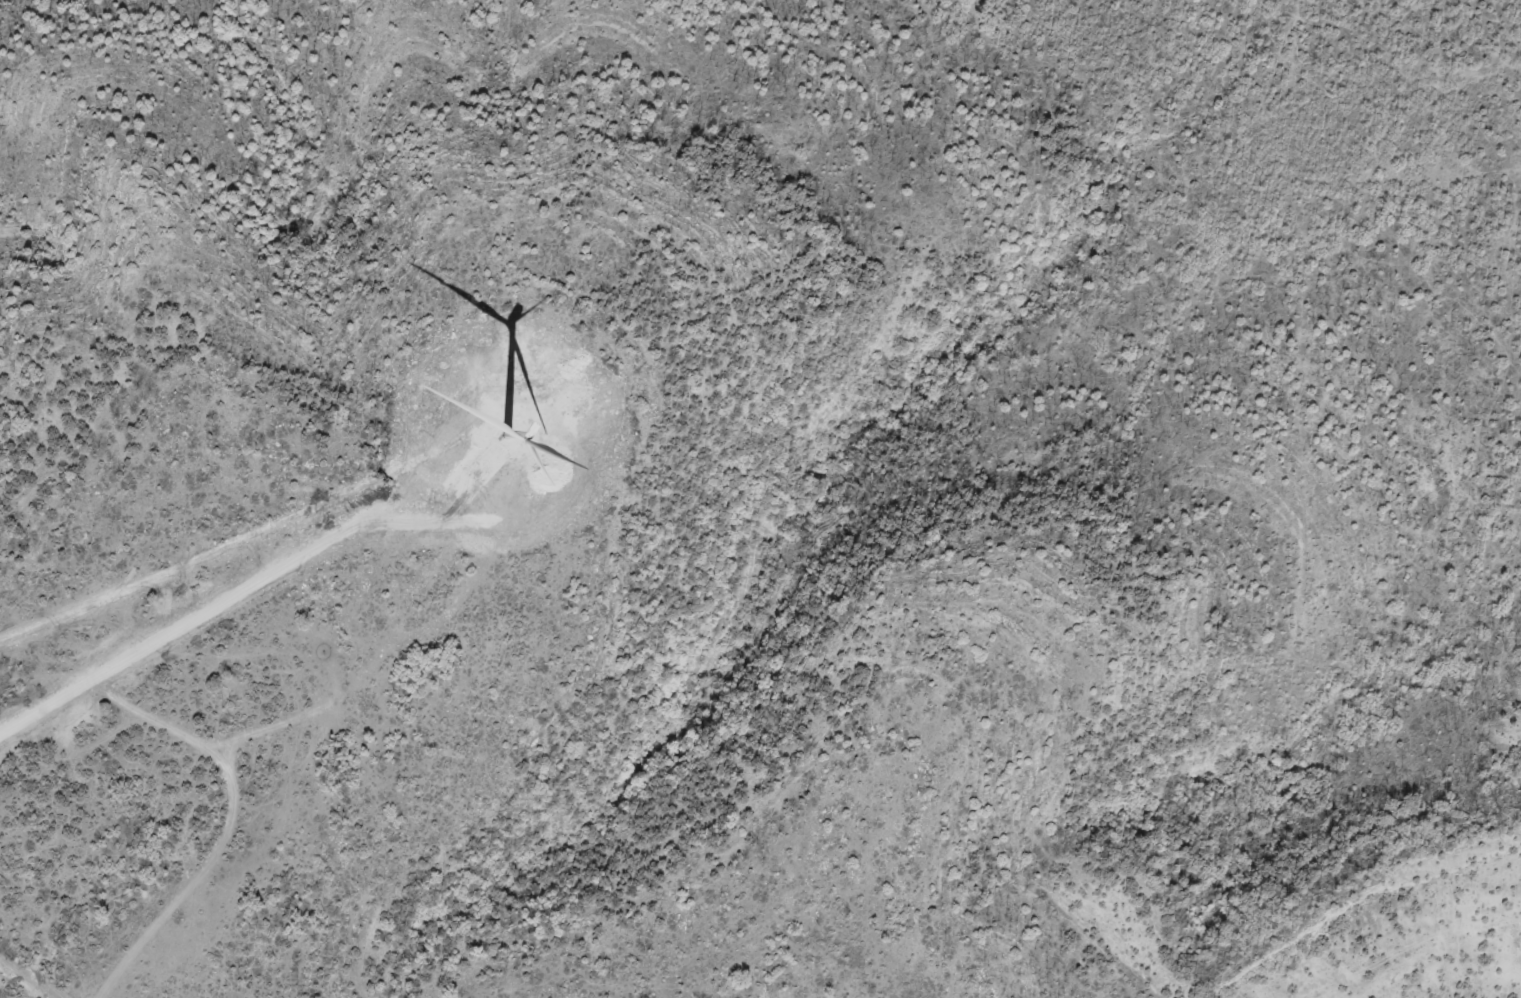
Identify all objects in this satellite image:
wind turbine: (514, 407)

